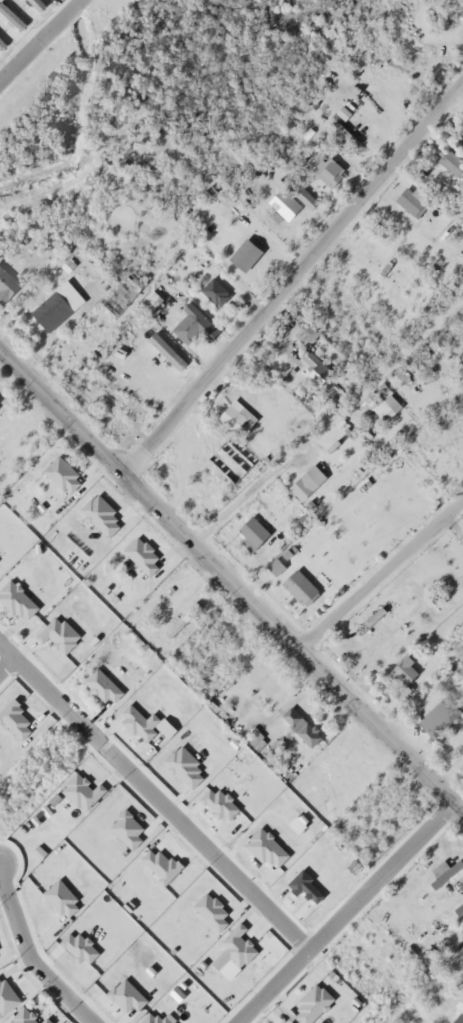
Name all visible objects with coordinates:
building: (9, 13)
road: (37, 37)
building: (0, 40)
building: (341, 131)
building: (325, 166)
building: (302, 194)
building: (410, 195)
building: (241, 250)
road: (294, 275)
building: (5, 281)
building: (210, 285)
building: (119, 290)
building: (148, 296)
building: (53, 303)
building: (191, 324)
building: (303, 330)
building: (274, 359)
building: (378, 402)
building: (233, 413)
road: (326, 414)
building: (303, 478)
building: (250, 529)
road: (382, 573)
road: (232, 577)
building: (296, 582)
building: (371, 612)
building: (179, 615)
road: (7, 666)
building: (401, 666)
building: (442, 706)
building: (298, 723)
road: (156, 800)
road: (353, 915)
road: (27, 957)
building: (456, 1011)

